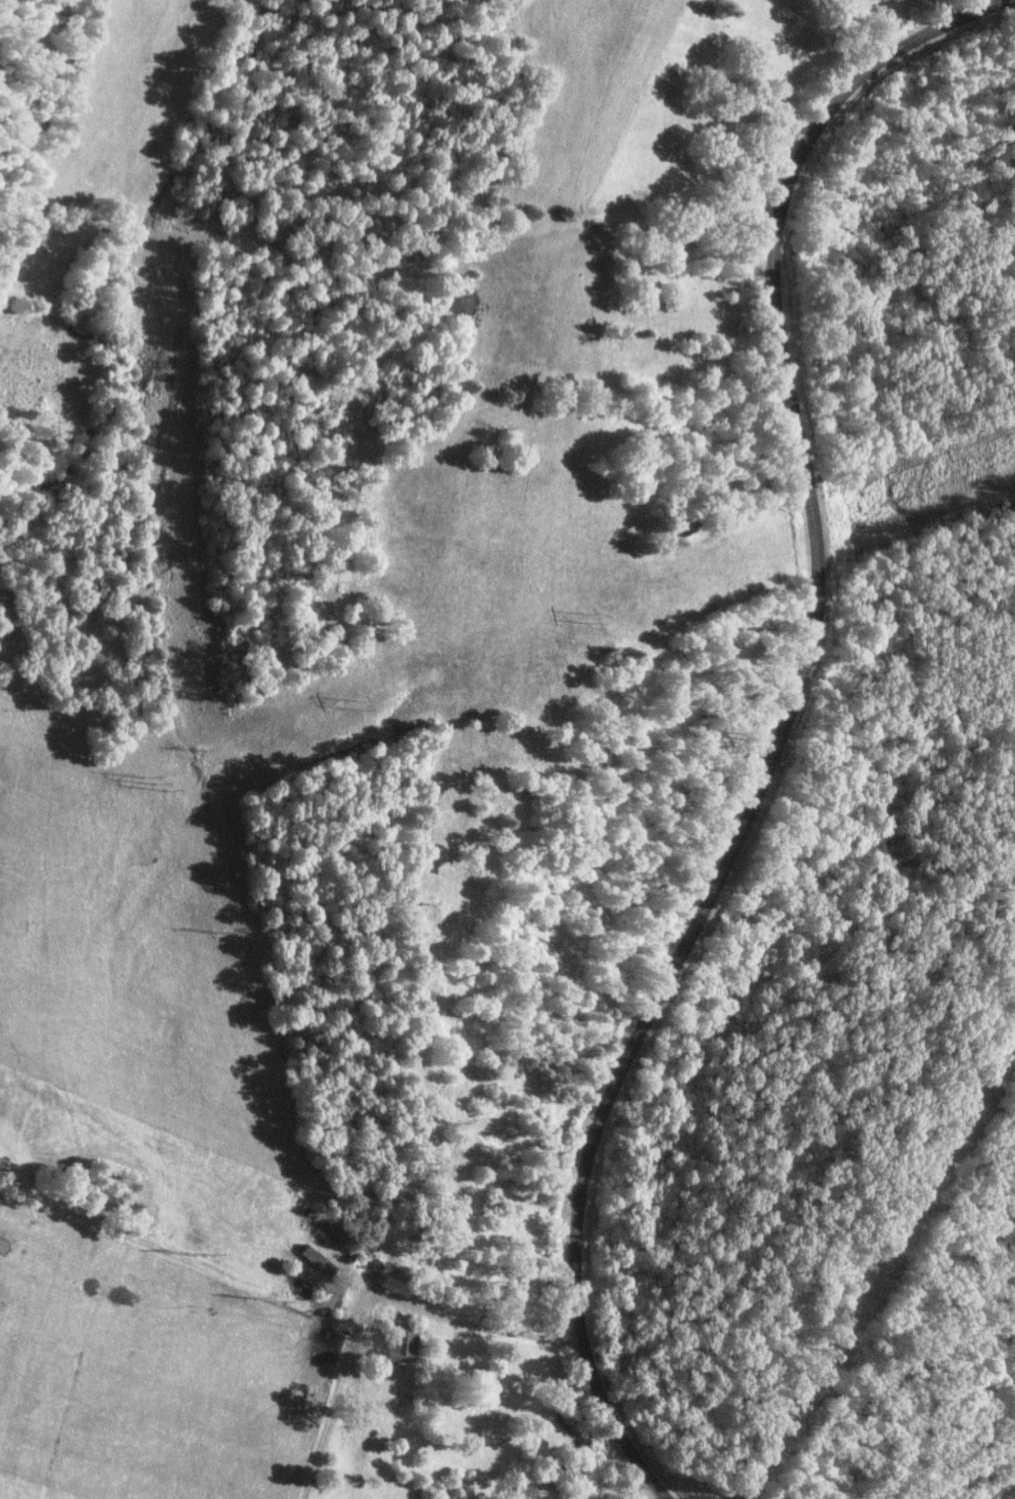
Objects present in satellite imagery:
road: (956, 7)
road: (783, 725)
park: (86, 1228)
building: (401, 1345)
building: (392, 1407)
road: (627, 1486)

